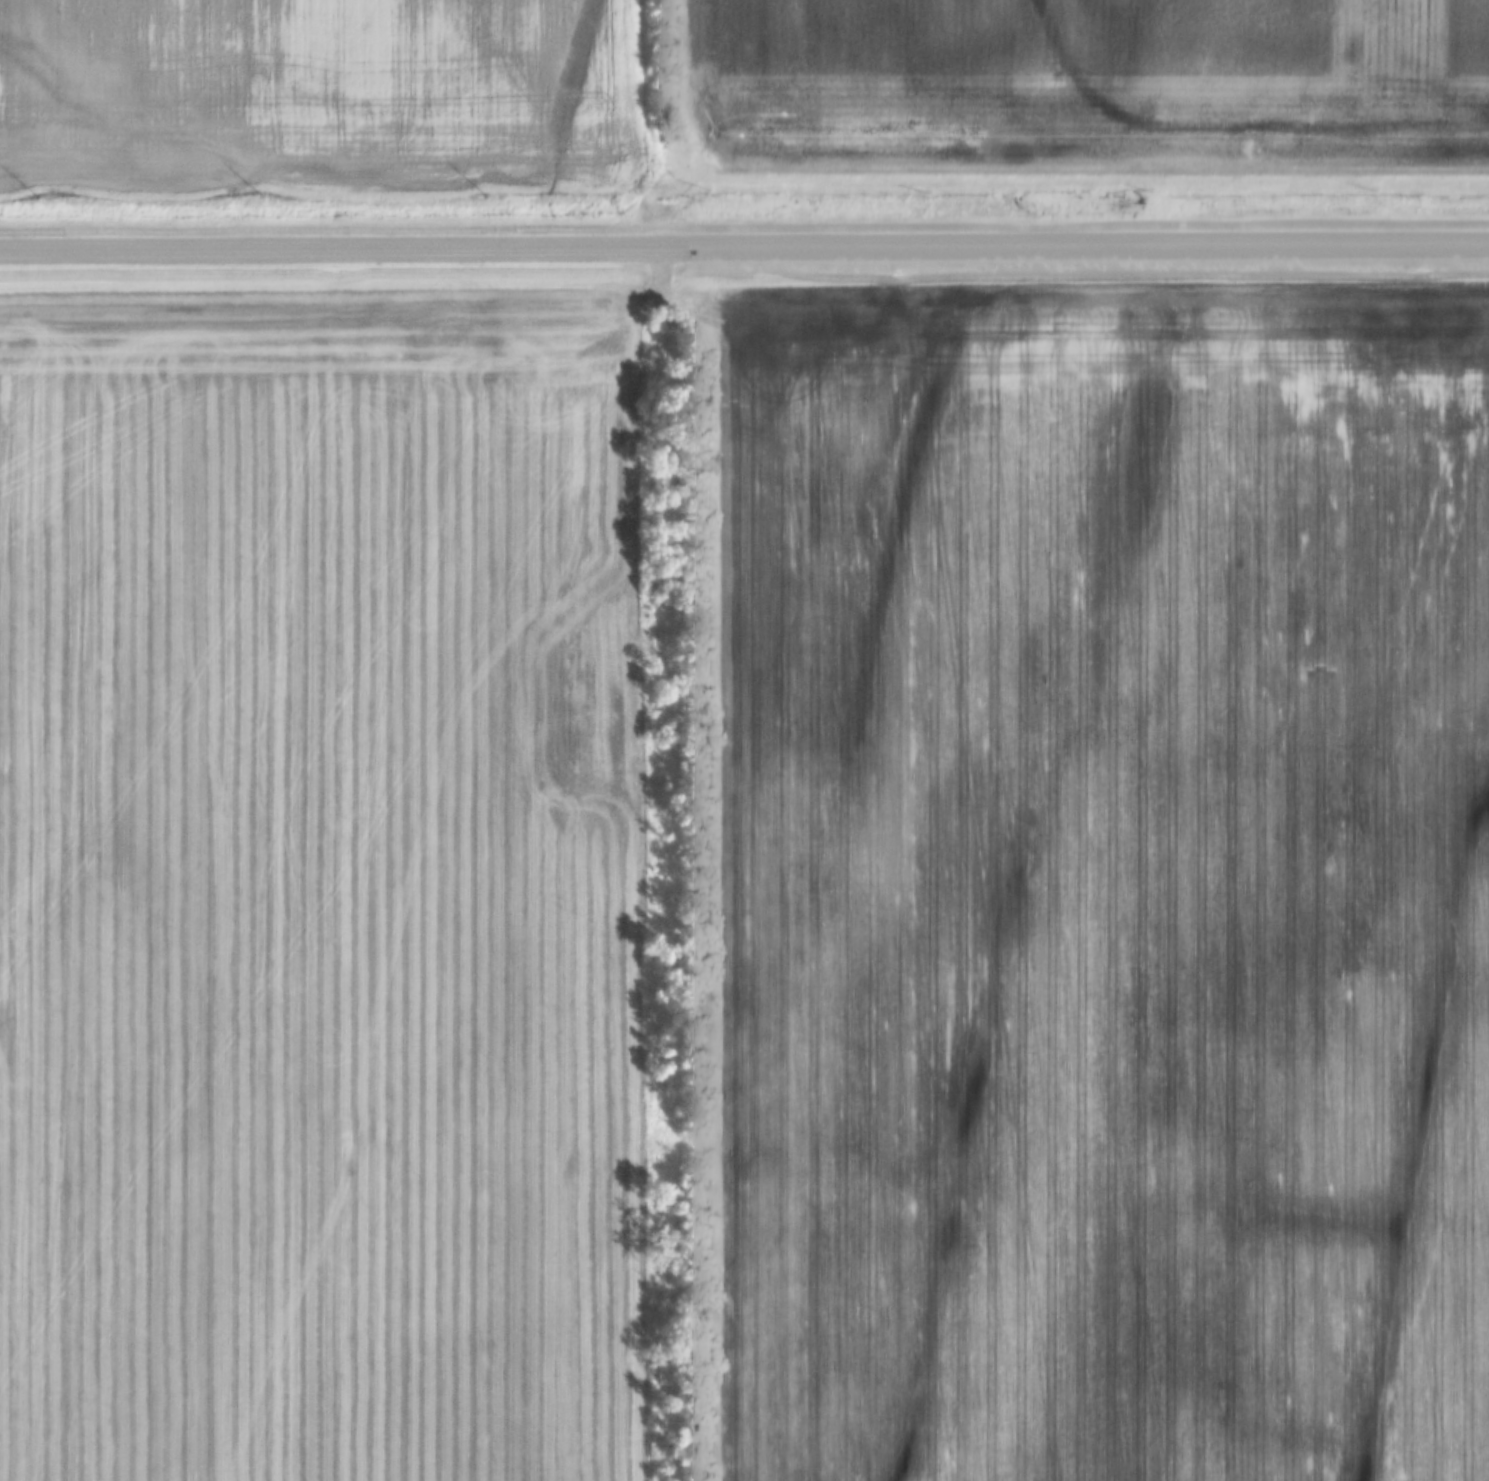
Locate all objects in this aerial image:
power tower: (701, 189)
road: (744, 247)

